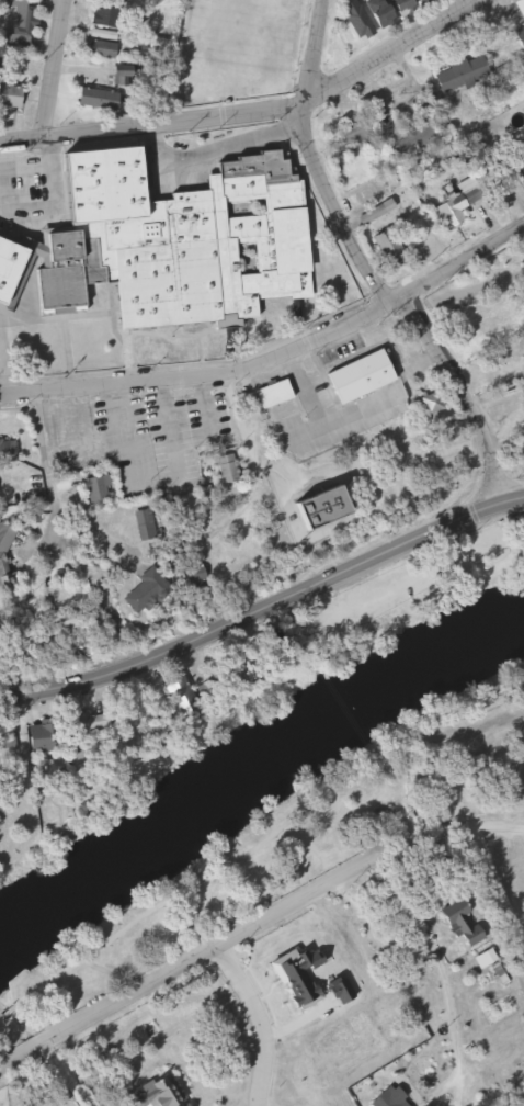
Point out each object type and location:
building: (102, 13)
building: (18, 21)
building: (100, 48)
road: (54, 71)
building: (111, 71)
building: (455, 74)
building: (8, 97)
building: (90, 100)
road: (252, 112)
building: (346, 132)
road: (308, 157)
building: (514, 166)
road: (49, 198)
building: (456, 204)
building: (168, 246)
road: (304, 329)
road: (3, 373)
building: (353, 379)
road: (34, 383)
building: (270, 394)
road: (458, 396)
road: (200, 398)
road: (78, 414)
road: (163, 420)
road: (123, 422)
parking lot: (181, 422)
building: (522, 427)
building: (126, 433)
building: (10, 451)
road: (247, 452)
building: (101, 489)
building: (331, 508)
road: (71, 521)
building: (149, 524)
building: (9, 561)
building: (158, 583)
road: (263, 597)
building: (251, 667)
building: (182, 704)
building: (94, 727)
building: (49, 738)
building: (10, 743)
road: (500, 825)
road: (265, 845)
road: (348, 867)
building: (452, 919)
building: (343, 962)
road: (249, 1024)
building: (372, 1025)
road: (58, 1031)
building: (386, 1098)

